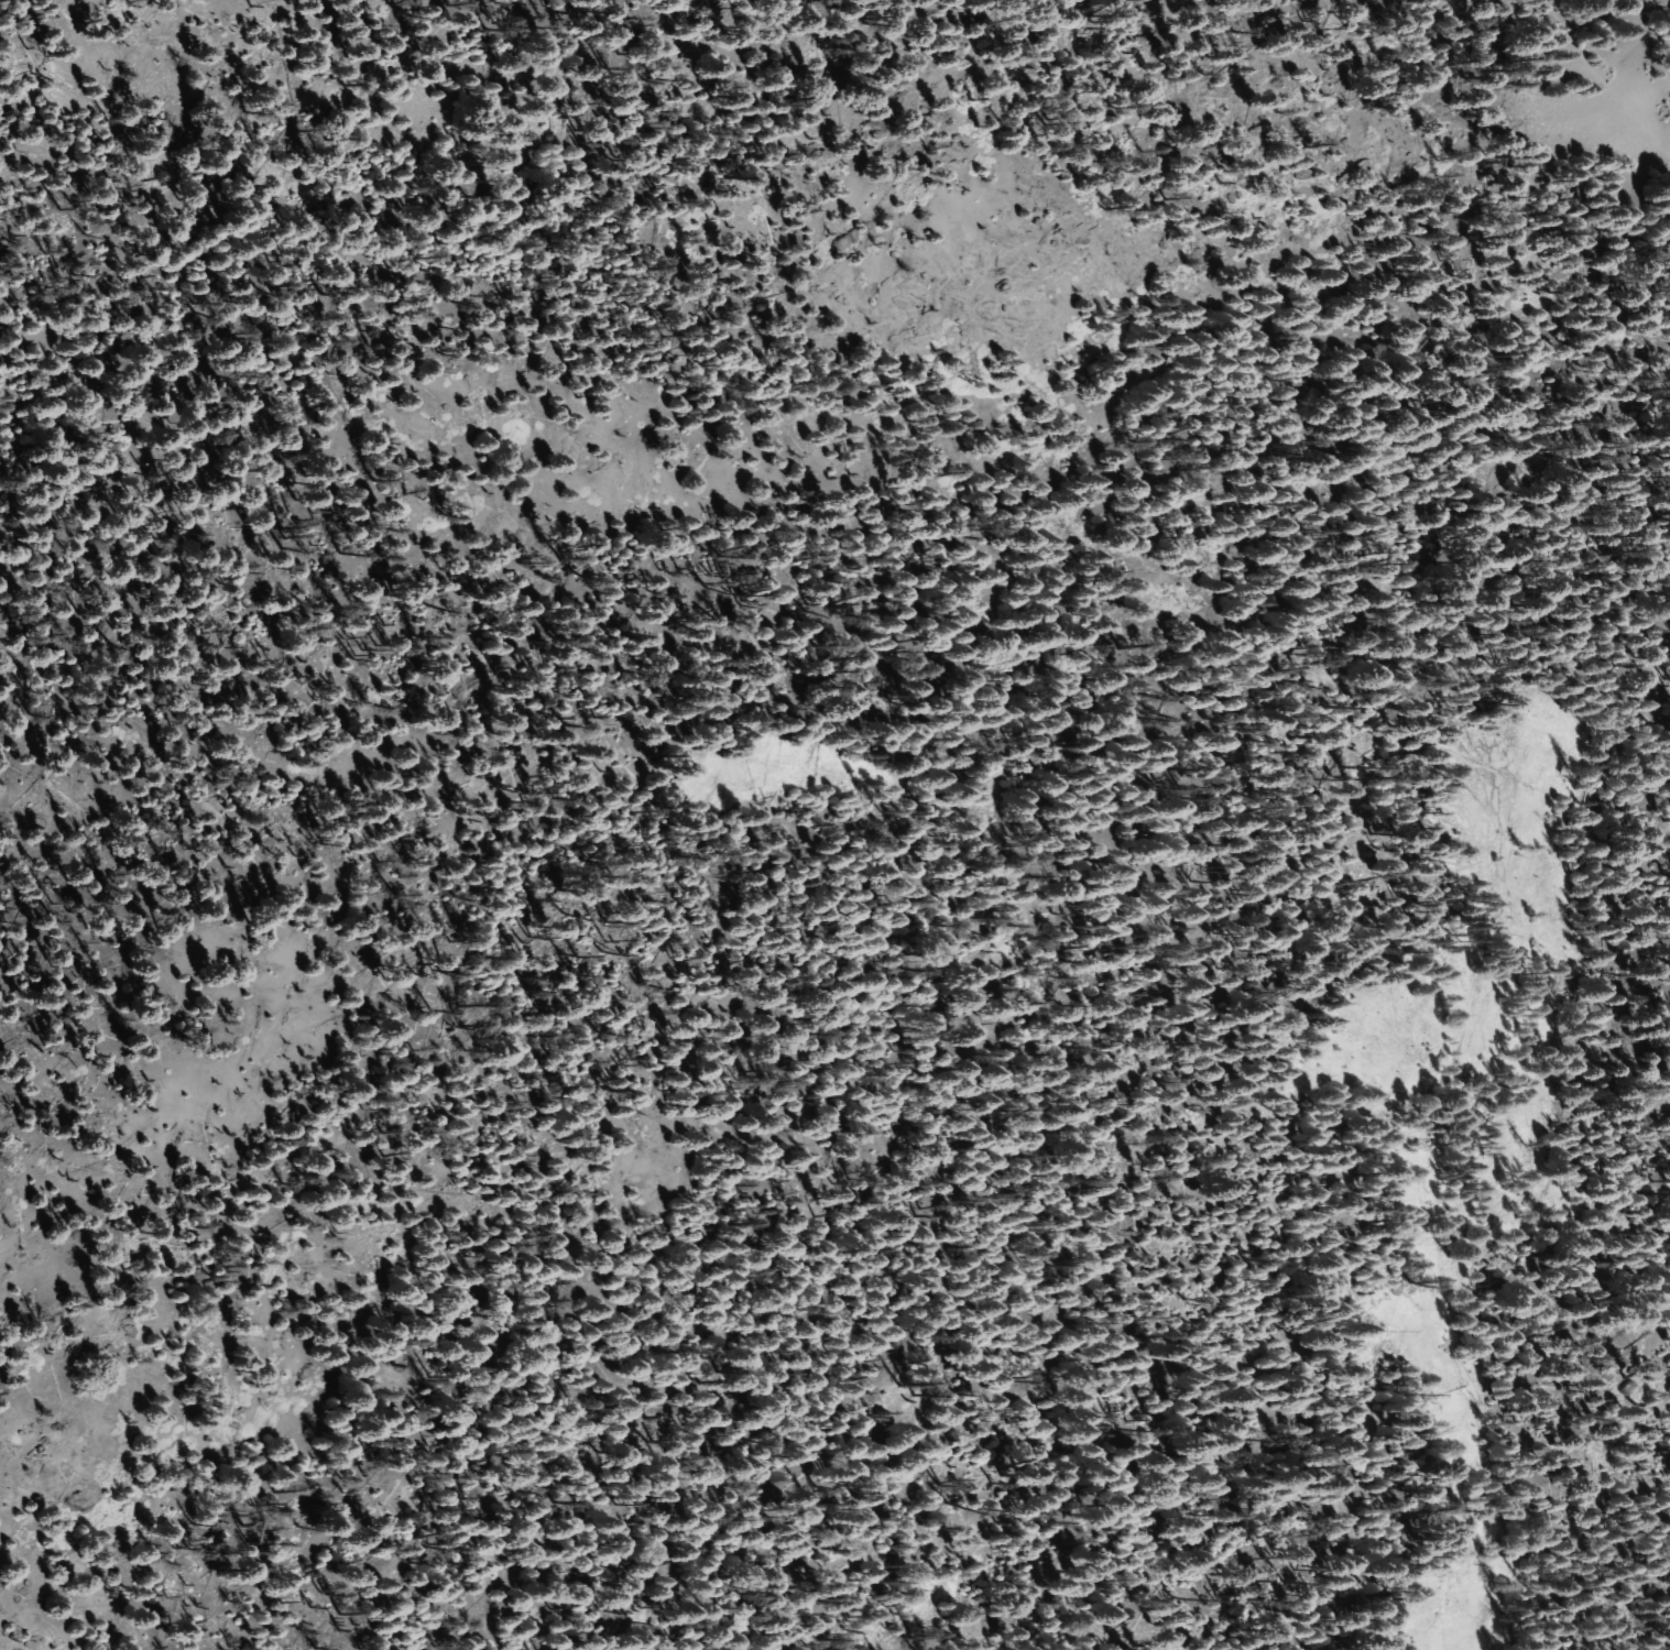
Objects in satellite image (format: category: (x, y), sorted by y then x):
road: (1602, 78)

